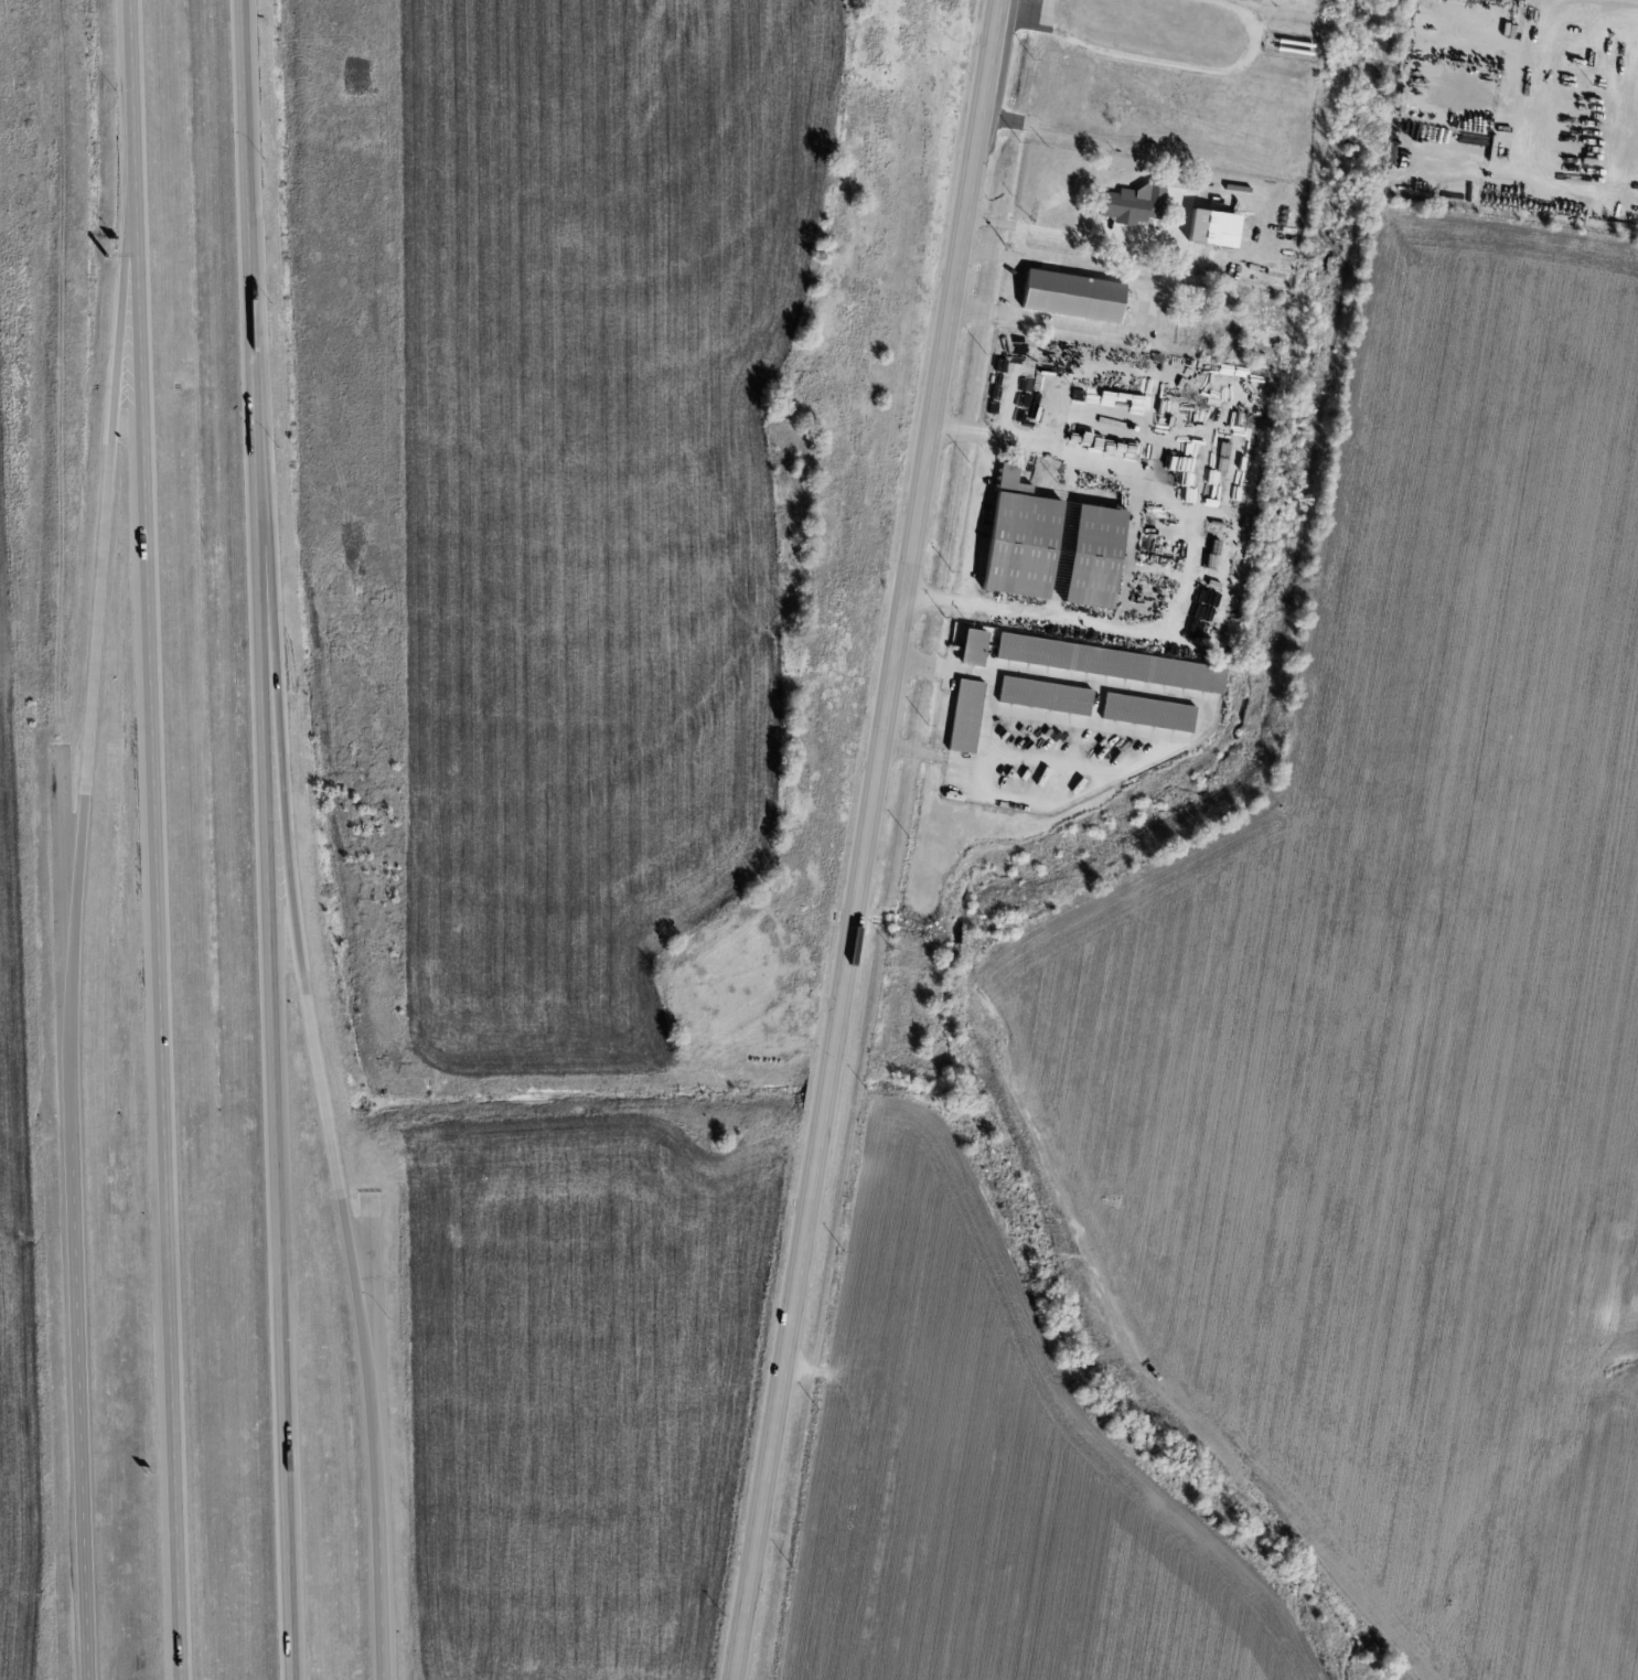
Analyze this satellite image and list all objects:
road: (127, 82)
road: (1531, 105)
road: (1624, 105)
building: (1132, 203)
road: (1041, 229)
road: (1016, 288)
building: (1072, 295)
road: (1143, 308)
road: (978, 518)
building: (1020, 538)
building: (1093, 556)
road: (1187, 567)
building: (975, 648)
road: (93, 652)
building: (1110, 663)
building: (1046, 695)
building: (1147, 711)
building: (967, 716)
road: (269, 839)
road: (864, 839)
road: (164, 921)
road: (328, 1123)
road: (84, 1411)

